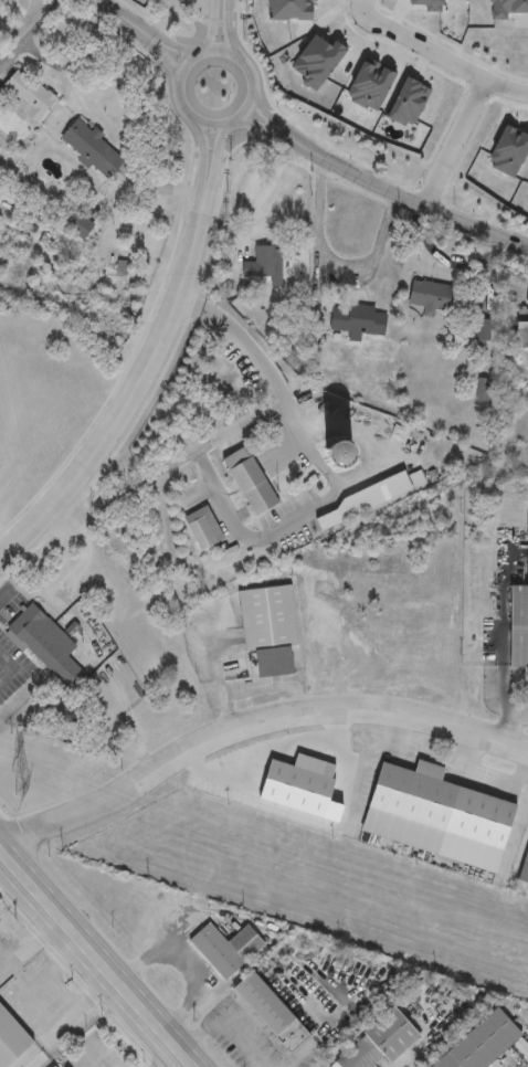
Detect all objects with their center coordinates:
building: (465, 7)
road: (112, 10)
road: (213, 27)
road: (228, 30)
road: (162, 41)
road: (157, 49)
road: (440, 54)
building: (474, 59)
road: (53, 61)
building: (30, 97)
building: (503, 102)
road: (267, 118)
road: (205, 122)
road: (264, 128)
road: (454, 144)
building: (94, 150)
road: (204, 157)
road: (212, 159)
building: (457, 168)
road: (264, 192)
road: (408, 201)
building: (175, 221)
building: (80, 225)
building: (266, 262)
road: (335, 263)
building: (427, 297)
building: (526, 299)
building: (356, 321)
building: (520, 330)
road: (134, 394)
building: (249, 483)
road: (122, 494)
building: (358, 503)
road: (311, 505)
building: (200, 529)
building: (518, 626)
building: (267, 627)
road: (511, 644)
building: (45, 646)
road: (9, 669)
road: (520, 718)
road: (252, 720)
building: (304, 779)
power tower: (22, 788)
building: (408, 806)
road: (515, 835)
building: (524, 871)
road: (31, 944)
building: (225, 950)
road: (97, 958)
road: (183, 968)
road: (231, 1005)
building: (270, 1014)
road: (63, 1021)
building: (12, 1036)
road: (315, 1037)
building: (379, 1043)
building: (482, 1044)
road: (166, 1058)
road: (520, 1064)

